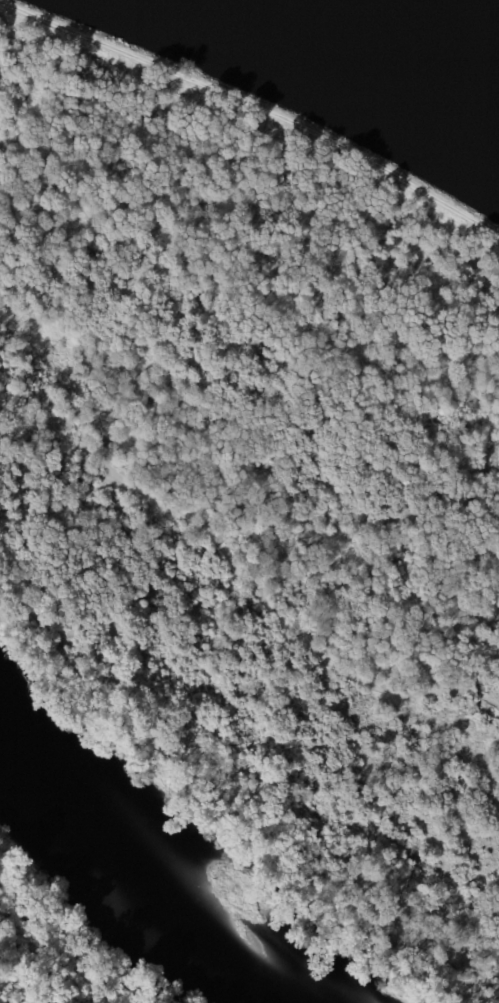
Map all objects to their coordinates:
wastewater plant: (345, 70)
road: (255, 106)
road: (63, 511)
road: (243, 575)
river: (139, 870)

